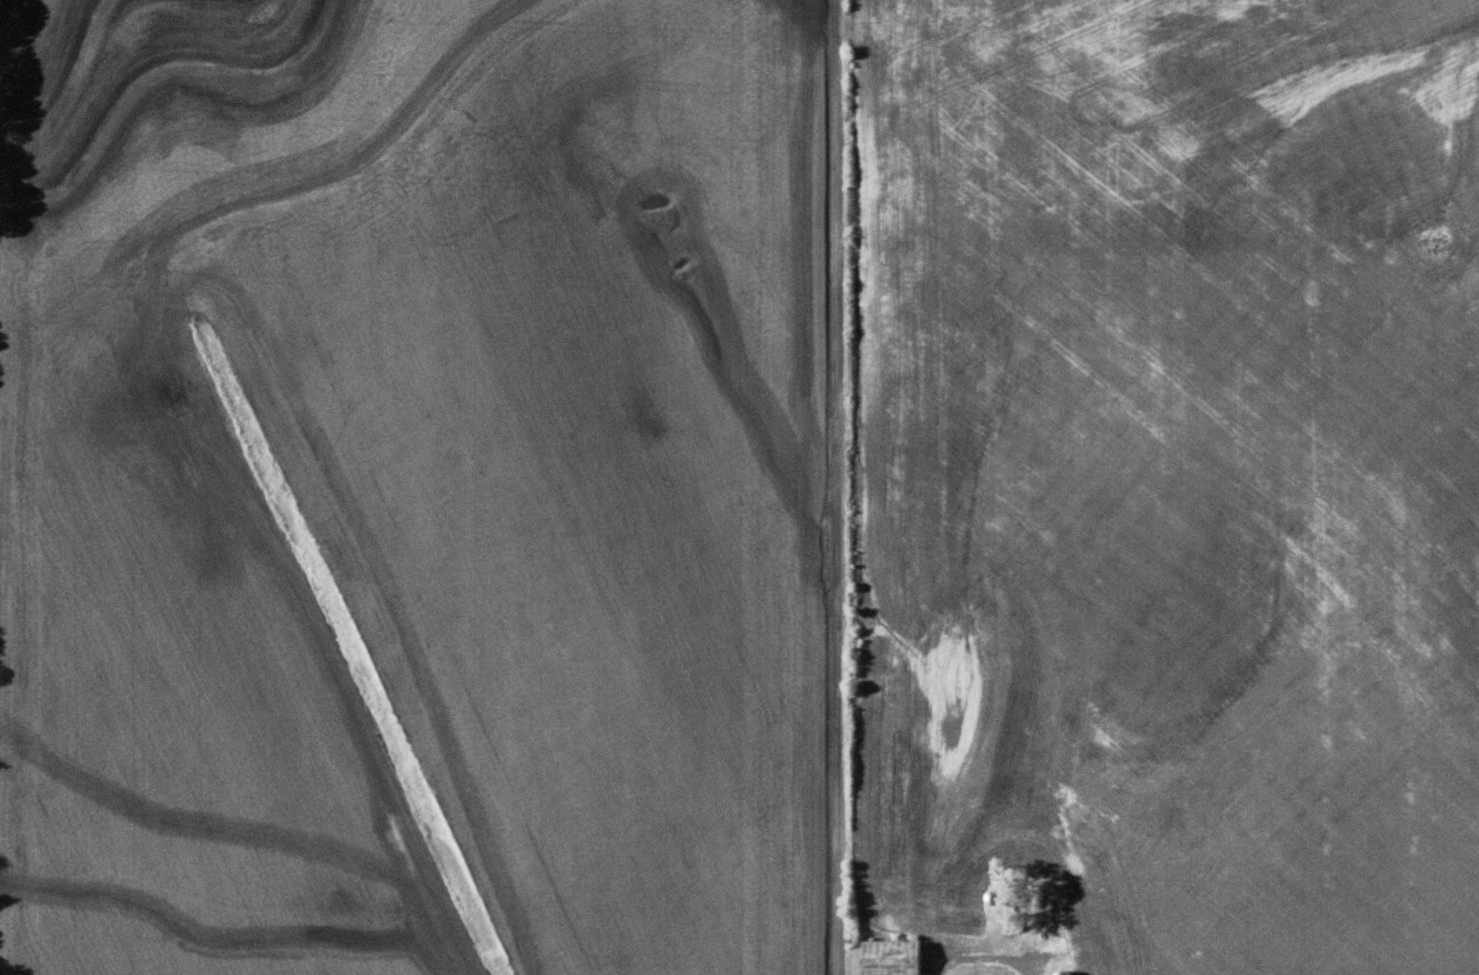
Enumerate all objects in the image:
crop: (1175, 475)
road: (827, 487)
building: (1156, 812)
silo: (992, 893)
road: (979, 954)
building: (895, 955)
building: (1058, 972)
silo: (1058, 972)
building: (1066, 972)

